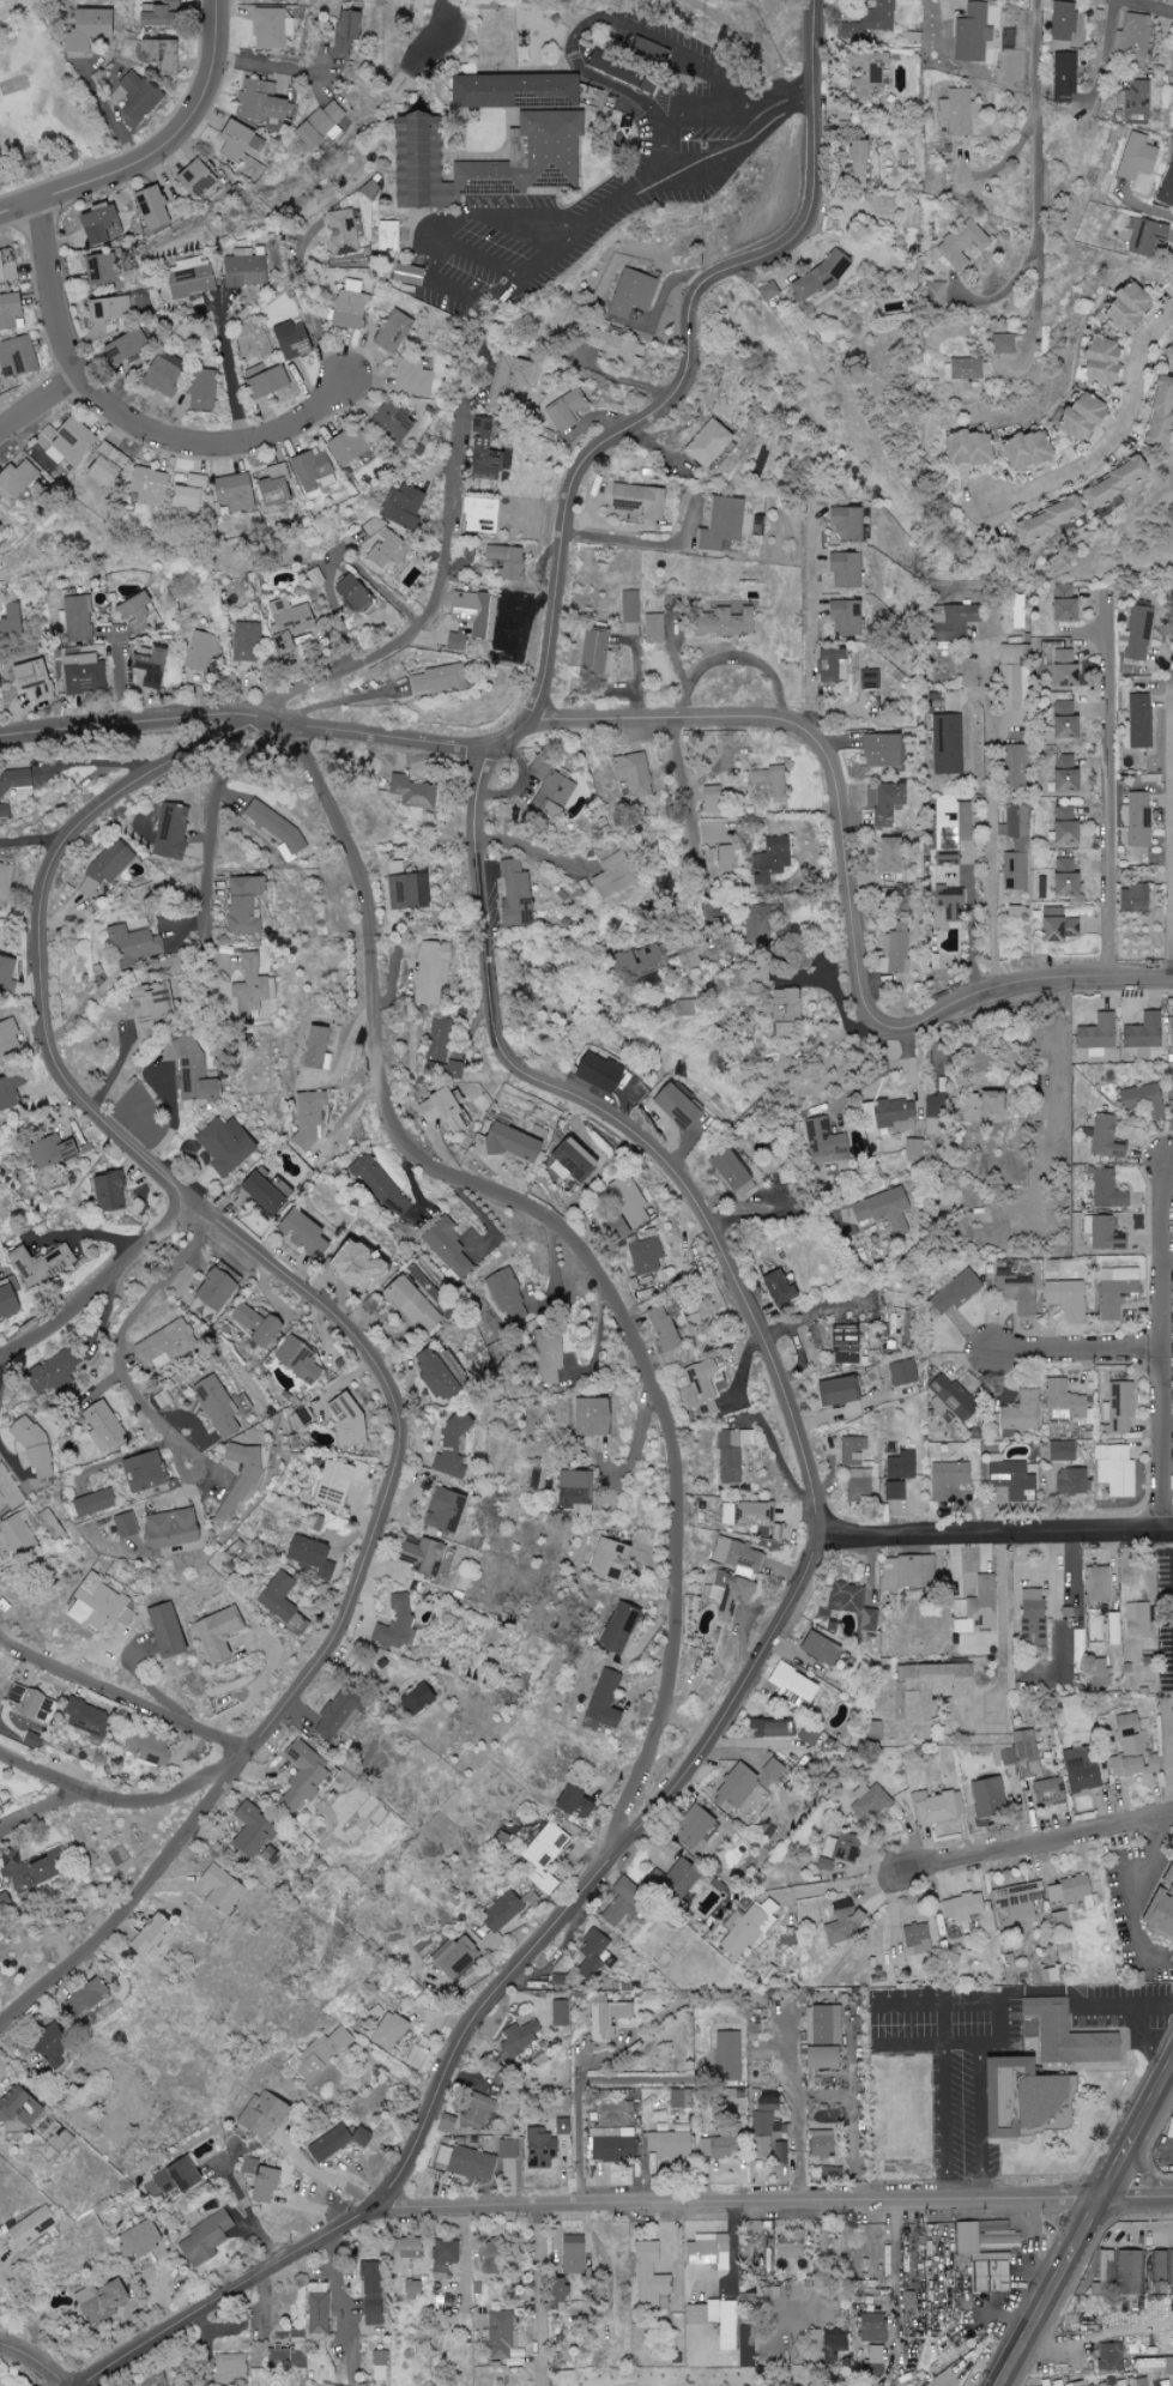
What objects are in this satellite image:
building: (283, 0)
road: (1150, 5)
building: (911, 12)
building: (157, 13)
road: (604, 18)
building: (870, 19)
building: (1062, 25)
building: (83, 29)
building: (271, 29)
building: (344, 32)
building: (969, 34)
building: (1133, 38)
road: (1104, 52)
building: (647, 53)
building: (158, 55)
road: (270, 66)
building: (609, 67)
building: (865, 74)
building: (1063, 78)
building: (646, 87)
building: (514, 91)
building: (133, 93)
road: (790, 97)
building: (261, 104)
building: (957, 111)
road: (110, 114)
building: (318, 126)
building: (613, 135)
building: (236, 141)
road: (156, 150)
building: (526, 157)
road: (663, 157)
building: (1136, 157)
building: (852, 158)
road: (1036, 159)
building: (417, 162)
building: (195, 179)
building: (1167, 189)
road: (619, 201)
road: (1145, 205)
building: (150, 207)
building: (911, 223)
building: (98, 225)
building: (341, 231)
building: (382, 236)
building: (1144, 237)
building: (962, 244)
road: (549, 254)
road: (479, 256)
building: (102, 268)
building: (241, 270)
building: (6, 272)
building: (403, 274)
building: (815, 278)
building: (187, 282)
building: (767, 292)
building: (630, 294)
building: (936, 294)
road: (1035, 295)
building: (341, 307)
building: (1125, 307)
building: (108, 308)
building: (7, 312)
road: (313, 312)
building: (387, 332)
building: (284, 342)
building: (1004, 344)
building: (122, 345)
building: (612, 346)
building: (14, 357)
road: (701, 362)
building: (1099, 363)
road: (229, 364)
building: (963, 369)
building: (159, 373)
building: (409, 379)
building: (509, 379)
building: (261, 381)
building: (198, 391)
road: (42, 407)
building: (566, 411)
building: (1155, 411)
building: (1076, 417)
road: (125, 419)
building: (388, 422)
road: (1114, 437)
building: (66, 442)
building: (705, 443)
building: (343, 447)
building: (966, 448)
building: (1022, 451)
building: (101, 466)
building: (307, 471)
building: (13, 479)
building: (193, 481)
building: (144, 487)
building: (267, 491)
building: (229, 494)
building: (179, 500)
building: (634, 500)
building: (399, 506)
building: (479, 515)
building: (1041, 519)
building: (844, 522)
building: (718, 524)
road: (631, 540)
building: (382, 545)
building: (506, 561)
building: (842, 569)
building: (346, 593)
building: (1060, 604)
building: (629, 606)
building: (131, 608)
building: (1017, 611)
building: (474, 612)
road: (436, 614)
building: (842, 617)
building: (74, 618)
building: (8, 620)
building: (956, 621)
building: (288, 622)
building: (722, 622)
road: (810, 623)
building: (652, 628)
building: (1138, 633)
building: (246, 641)
building: (453, 642)
building: (201, 652)
building: (592, 652)
building: (828, 663)
building: (140, 668)
building: (1060, 669)
building: (0, 673)
building: (81, 673)
road: (119, 677)
building: (32, 679)
building: (437, 679)
building: (869, 679)
building: (1014, 685)
road: (255, 715)
building: (1138, 720)
building: (1060, 721)
road: (524, 733)
building: (945, 744)
building: (878, 751)
road: (107, 761)
building: (1011, 766)
building: (633, 774)
building: (1060, 774)
road: (1108, 783)
building: (773, 785)
building: (14, 786)
building: (552, 790)
building: (411, 796)
building: (709, 799)
building: (887, 803)
building: (545, 810)
road: (212, 816)
building: (1137, 820)
building: (1062, 826)
building: (1015, 827)
building: (276, 829)
building: (951, 830)
building: (170, 832)
building: (718, 833)
road: (1172, 834)
road: (993, 839)
road: (32, 841)
road: (531, 848)
building: (888, 856)
building: (725, 859)
building: (767, 860)
building: (103, 868)
building: (1014, 871)
building: (612, 874)
building: (1062, 878)
building: (2, 882)
road: (853, 883)
building: (404, 888)
building: (514, 894)
building: (1135, 898)
building: (242, 904)
building: (948, 907)
building: (1017, 913)
building: (1056, 925)
road: (712, 935)
building: (132, 944)
building: (895, 952)
building: (689, 956)
building: (637, 959)
building: (430, 971)
building: (6, 972)
building: (249, 986)
building: (145, 1002)
building: (772, 1002)
building: (687, 1011)
building: (1172, 1028)
building: (1095, 1034)
building: (1142, 1034)
building: (7, 1035)
building: (440, 1039)
building: (313, 1046)
building: (188, 1070)
building: (454, 1070)
building: (595, 1071)
building: (8, 1088)
building: (1172, 1089)
building: (1141, 1100)
road: (1063, 1101)
building: (675, 1105)
building: (930, 1106)
building: (978, 1106)
building: (439, 1109)
building: (894, 1115)
building: (309, 1117)
building: (869, 1117)
road: (634, 1124)
building: (1105, 1138)
building: (824, 1141)
building: (509, 1142)
building: (223, 1144)
building: (912, 1148)
building: (46, 1150)
building: (569, 1161)
building: (733, 1171)
building: (380, 1185)
building: (1107, 1190)
building: (105, 1191)
building: (262, 1192)
building: (949, 1194)
building: (629, 1201)
road: (767, 1210)
building: (882, 1210)
building: (617, 1228)
building: (303, 1233)
building: (1102, 1233)
road: (243, 1240)
building: (449, 1250)
building: (645, 1257)
road: (1168, 1261)
building: (40, 1264)
road: (592, 1264)
building: (353, 1266)
road: (95, 1277)
building: (776, 1287)
building: (205, 1289)
building: (1016, 1291)
building: (1117, 1291)
building: (954, 1292)
building: (506, 1295)
building: (1065, 1298)
building: (6, 1300)
building: (410, 1303)
road: (104, 1307)
building: (694, 1317)
building: (248, 1324)
building: (573, 1325)
road: (128, 1328)
building: (659, 1328)
road: (599, 1333)
building: (844, 1340)
building: (153, 1343)
road: (1160, 1345)
road: (1075, 1349)
building: (549, 1357)
building: (289, 1359)
road: (0, 1364)
building: (48, 1372)
building: (900, 1372)
building: (435, 1375)
building: (700, 1388)
building: (832, 1391)
building: (951, 1397)
building: (199, 1403)
building: (1065, 1403)
building: (1118, 1407)
building: (1021, 1412)
building: (591, 1417)
building: (338, 1420)
road: (1167, 1420)
building: (92, 1425)
road: (8, 1448)
building: (451, 1448)
building: (851, 1450)
building: (1059, 1451)
building: (731, 1454)
building: (899, 1466)
road: (205, 1468)
building: (128, 1469)
building: (1117, 1470)
building: (224, 1476)
road: (188, 1478)
building: (945, 1479)
building: (1010, 1480)
building: (1070, 1481)
building: (324, 1484)
building: (858, 1485)
building: (574, 1488)
building: (893, 1491)
building: (6, 1494)
building: (81, 1502)
building: (442, 1510)
building: (752, 1514)
building: (44, 1524)
building: (113, 1524)
building: (155, 1527)
road: (999, 1530)
building: (14, 1534)
building: (421, 1554)
building: (304, 1556)
building: (738, 1557)
building: (606, 1560)
building: (905, 1572)
building: (1093, 1583)
building: (730, 1594)
building: (274, 1596)
building: (845, 1597)
building: (96, 1600)
building: (975, 1608)
building: (1030, 1614)
building: (78, 1617)
building: (867, 1619)
building: (1136, 1619)
building: (393, 1625)
building: (617, 1629)
building: (1095, 1629)
building: (1112, 1629)
building: (159, 1630)
building: (214, 1633)
road: (1004, 1643)
building: (815, 1647)
building: (1077, 1651)
building: (1099, 1673)
building: (788, 1686)
building: (929, 1687)
road: (122, 1691)
building: (413, 1698)
building: (603, 1701)
building: (28, 1703)
building: (335, 1715)
building: (85, 1718)
building: (766, 1728)
building: (872, 1730)
building: (808, 1735)
building: (31, 1739)
building: (1171, 1744)
building: (146, 1747)
building: (1132, 1748)
road: (1169, 1751)
building: (1026, 1753)
building: (1002, 1754)
building: (772, 1769)
building: (1081, 1771)
building: (303, 1775)
building: (733, 1789)
building: (1047, 1793)
building: (985, 1795)
building: (568, 1799)
road: (116, 1800)
building: (867, 1802)
building: (585, 1807)
building: (936, 1807)
road: (41, 1810)
building: (690, 1828)
building: (252, 1830)
road: (1036, 1844)
building: (545, 1847)
building: (846, 1852)
building: (268, 1856)
building: (32, 1868)
building: (672, 1881)
road: (845, 1883)
building: (220, 1890)
building: (1068, 1891)
road: (1131, 1891)
building: (618, 1901)
building: (1012, 1903)
building: (960, 1907)
building: (1160, 1908)
building: (498, 1919)
building: (1058, 1920)
building: (841, 1921)
building: (748, 1928)
road: (101, 1935)
building: (144, 1937)
building: (915, 1939)
building: (592, 1951)
building: (455, 1958)
road: (1017, 1988)
building: (81, 1999)
road: (489, 2001)
road: (941, 2010)
building: (558, 2013)
building: (604, 2017)
building: (822, 2024)
building: (388, 2031)
building: (1064, 2035)
building: (519, 2037)
building: (726, 2048)
building: (52, 2049)
building: (320, 2054)
building: (416, 2058)
building: (818, 2058)
road: (579, 2094)
building: (1015, 2096)
building: (677, 2098)
building: (612, 2106)
road: (799, 2109)
building: (18, 2110)
building: (474, 2112)
building: (261, 2115)
building: (445, 2124)
building: (764, 2124)
building: (560, 2126)
building: (1168, 2130)
building: (335, 2142)
building: (720, 2143)
building: (818, 2143)
building: (611, 2144)
building: (667, 2144)
building: (761, 2146)
building: (508, 2149)
building: (539, 2149)
building: (465, 2163)
road: (324, 2171)
road: (963, 2174)
building: (176, 2175)
building: (260, 2181)
road: (767, 2205)
road: (250, 2212)
road: (1088, 2225)
building: (30, 2227)
building: (139, 2239)
building: (204, 2240)
building: (787, 2246)
building: (838, 2246)
building: (407, 2248)
building: (707, 2251)
building: (442, 2252)
building: (572, 2254)
building: (489, 2258)
building: (1105, 2265)
road: (1, 2269)
building: (1129, 2269)
building: (1159, 2272)
building: (1171, 2272)
building: (986, 2273)
building: (647, 2275)
building: (409, 2290)
building: (557, 2290)
road: (340, 2294)
building: (370, 2294)
road: (538, 2297)
building: (101, 2301)
road: (18, 2305)
building: (316, 2308)
building: (701, 2313)
building: (727, 2325)
building: (870, 2327)
road: (1135, 2327)
building: (500, 2336)
building: (815, 2343)
building: (833, 2343)
road: (1060, 2349)
building: (873, 2354)
road: (36, 2356)
building: (746, 2356)
building: (1108, 2356)
building: (377, 2366)
building: (1168, 2366)
building: (1148, 2367)
building: (228, 2368)
road: (637, 2374)
park: (717, 2378)
road: (779, 2380)
building: (1057, 2382)
building: (1139, 2382)
building: (1074, 2384)
building: (1120, 2384)
building: (1162, 2384)
building: (1100, 2385)

